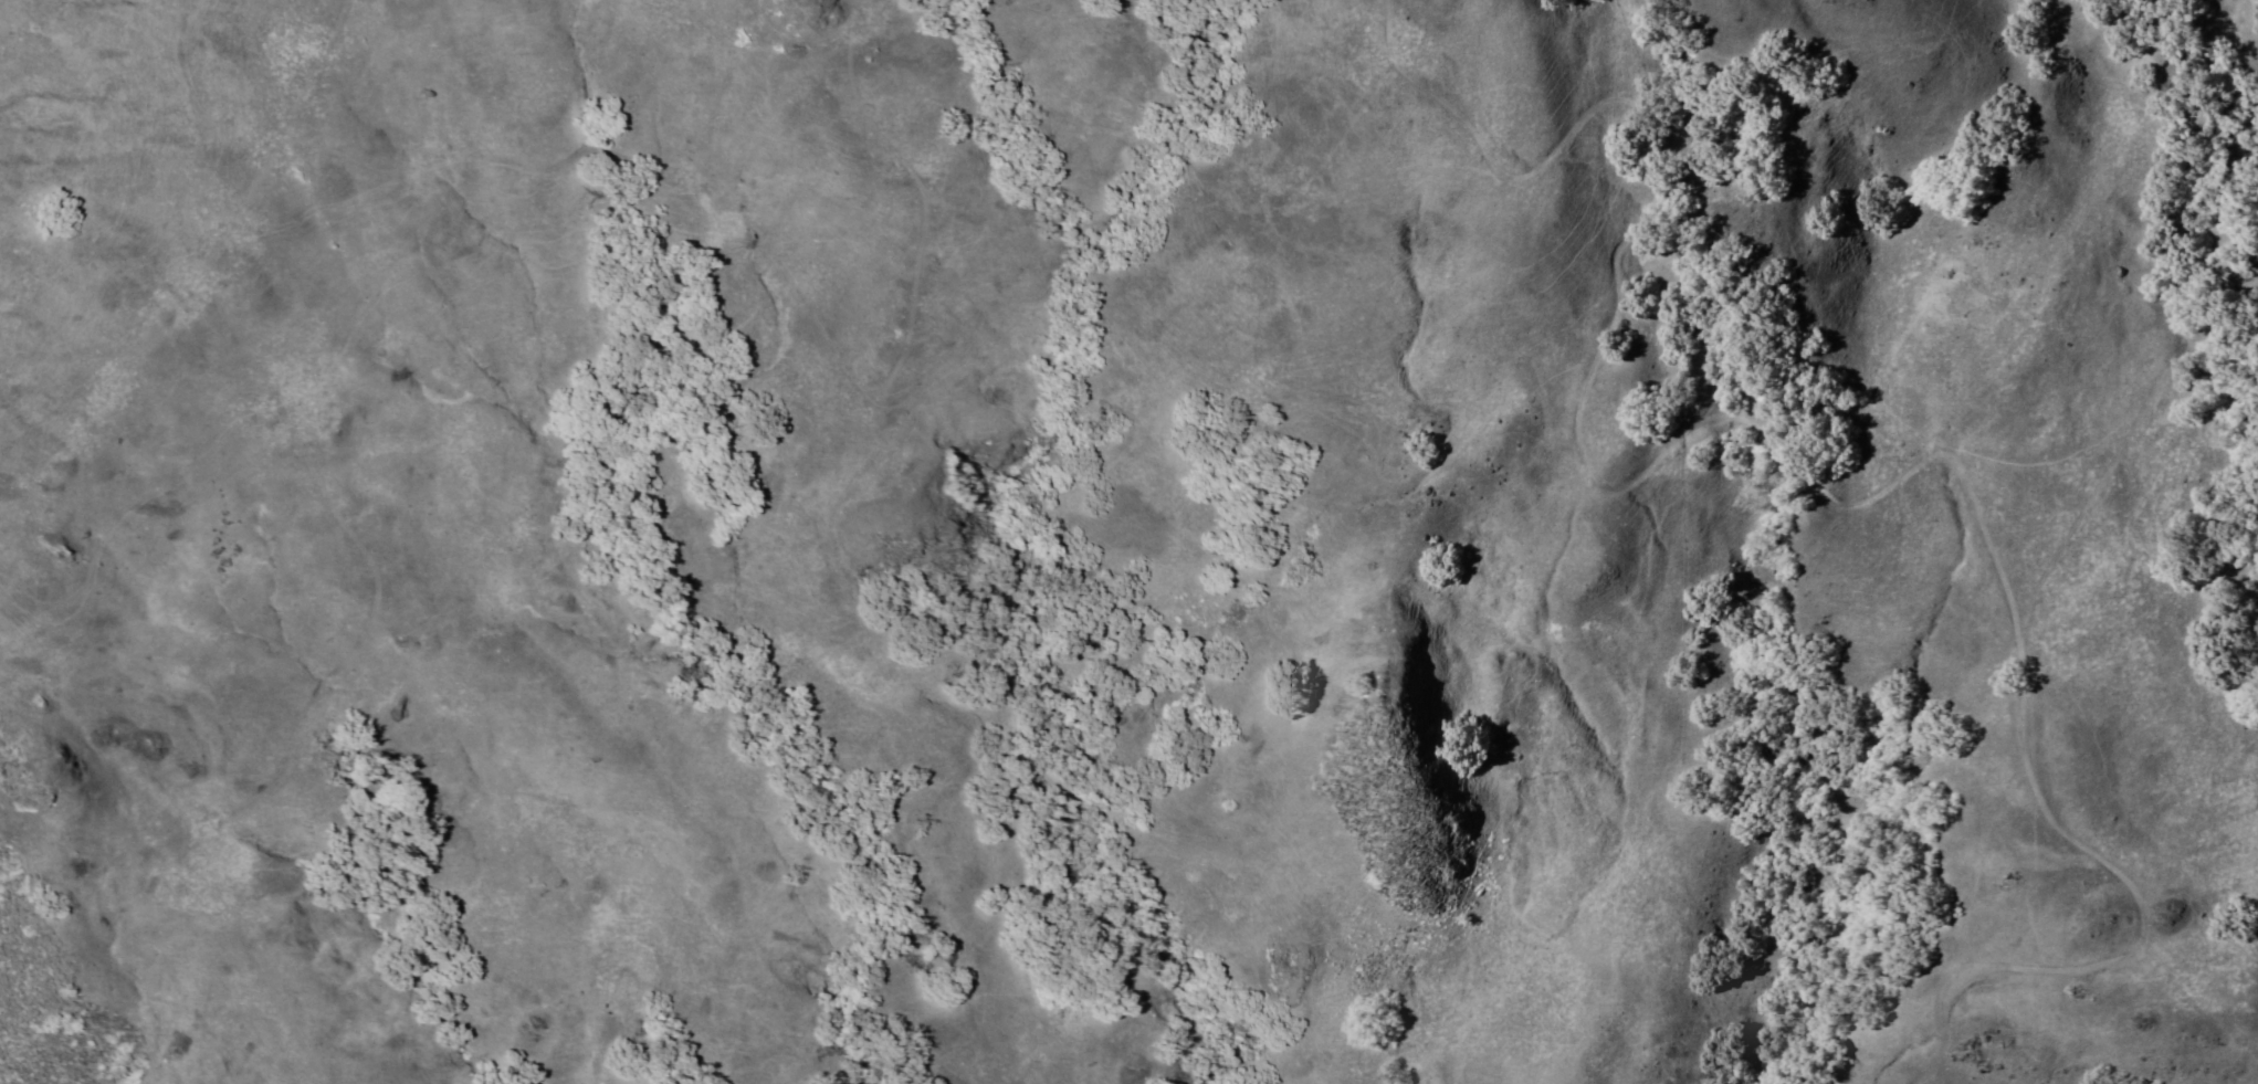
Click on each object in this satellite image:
road: (311, 146)
road: (1796, 463)

